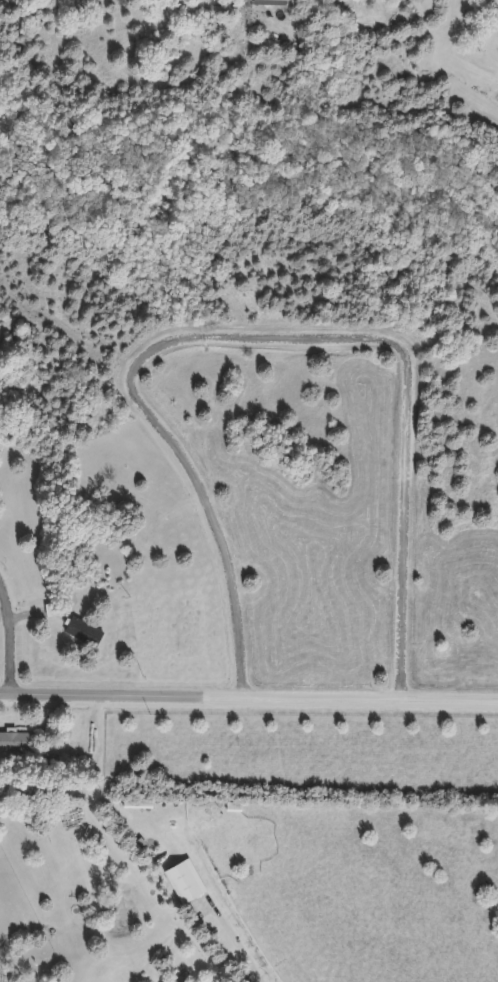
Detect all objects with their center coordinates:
building: (382, 0)
building: (265, 2)
road: (263, 340)
road: (18, 629)
building: (80, 632)
road: (248, 698)
building: (15, 741)
building: (134, 803)
building: (181, 880)

